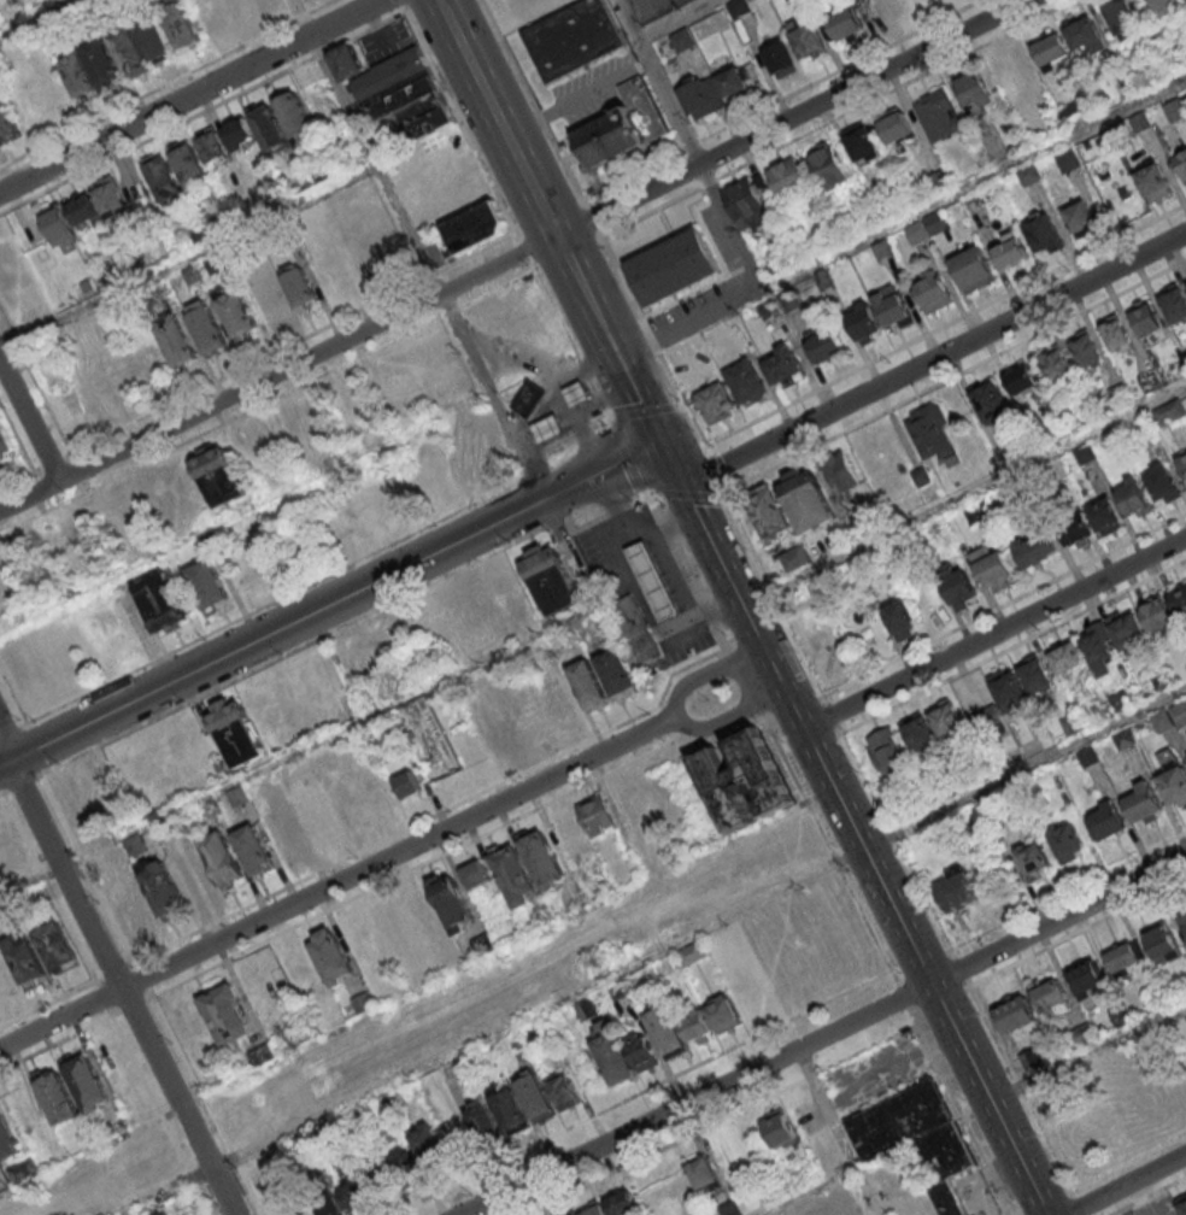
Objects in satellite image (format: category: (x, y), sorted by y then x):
building: (918, 2)
building: (264, 5)
building: (1166, 6)
parking lot: (653, 7)
building: (739, 8)
building: (887, 8)
road: (34, 17)
building: (1121, 17)
road: (675, 19)
building: (845, 23)
building: (180, 24)
building: (1084, 34)
building: (153, 36)
building: (571, 37)
building: (681, 39)
building: (808, 39)
building: (129, 51)
building: (1051, 51)
building: (780, 58)
building: (101, 64)
building: (76, 74)
building: (734, 81)
road: (658, 82)
road: (168, 83)
road: (334, 83)
building: (395, 89)
building: (975, 90)
road: (189, 95)
building: (697, 95)
building: (1173, 110)
road: (201, 111)
building: (938, 115)
building: (295, 116)
building: (6, 119)
road: (459, 119)
building: (1137, 123)
building: (623, 124)
building: (896, 127)
building: (269, 128)
building: (239, 131)
building: (861, 143)
building: (212, 145)
road: (516, 152)
building: (1065, 158)
building: (1181, 160)
building: (827, 164)
building: (189, 165)
building: (1027, 174)
building: (164, 177)
building: (788, 180)
road: (979, 180)
building: (1156, 180)
building: (108, 195)
building: (748, 199)
building: (83, 209)
building: (1079, 216)
building: (933, 222)
building: (57, 223)
building: (475, 225)
building: (916, 231)
building: (1043, 231)
building: (1010, 248)
building: (881, 250)
road: (526, 252)
road: (512, 257)
road: (188, 259)
building: (673, 265)
building: (973, 269)
building: (299, 287)
building: (932, 290)
road: (752, 293)
building: (266, 298)
building: (1174, 301)
building: (891, 305)
building: (768, 307)
building: (235, 311)
building: (1145, 318)
building: (862, 322)
building: (205, 325)
road: (460, 331)
building: (1115, 331)
building: (177, 342)
road: (569, 342)
road: (653, 345)
building: (823, 346)
building: (1087, 348)
road: (933, 358)
building: (1056, 363)
building: (782, 365)
road: (623, 372)
road: (955, 377)
building: (1024, 377)
building: (744, 378)
building: (576, 392)
building: (528, 398)
building: (714, 400)
road: (43, 403)
building: (992, 403)
building: (1168, 411)
road: (646, 412)
road: (30, 419)
building: (548, 428)
building: (930, 433)
building: (5, 440)
traffic signals: (657, 440)
building: (1084, 453)
road: (24, 454)
road: (627, 457)
building: (1182, 460)
road: (601, 468)
road: (714, 470)
building: (840, 470)
building: (920, 475)
building: (218, 477)
building: (1163, 482)
road: (683, 494)
road: (963, 497)
building: (1133, 497)
building: (806, 499)
building: (768, 511)
building: (1104, 513)
building: (1076, 528)
road: (177, 542)
building: (1033, 548)
building: (795, 557)
building: (992, 567)
road: (687, 571)
building: (550, 579)
road: (319, 580)
building: (652, 580)
building: (205, 582)
parking lot: (646, 583)
building: (956, 585)
road: (770, 591)
building: (1179, 598)
building: (160, 600)
building: (1156, 614)
building: (899, 617)
road: (272, 629)
building: (1125, 629)
building: (635, 630)
road: (993, 630)
building: (1096, 641)
building: (1065, 656)
building: (618, 673)
road: (703, 674)
building: (1035, 674)
road: (744, 681)
building: (588, 683)
building: (1120, 699)
building: (1002, 702)
building: (1179, 711)
building: (524, 712)
road: (833, 715)
road: (724, 718)
building: (947, 718)
building: (1161, 720)
building: (1074, 723)
building: (489, 724)
building: (234, 730)
road: (8, 732)
road: (330, 733)
building: (918, 733)
road: (8, 736)
building: (1126, 738)
building: (891, 756)
building: (1087, 756)
road: (1023, 768)
building: (1173, 776)
building: (744, 779)
building: (406, 783)
building: (237, 794)
building: (1143, 800)
building: (311, 814)
building: (595, 814)
building: (1106, 820)
building: (280, 827)
road: (851, 827)
building: (1065, 840)
building: (133, 844)
road: (897, 844)
road: (828, 846)
building: (252, 847)
building: (221, 856)
building: (539, 857)
building: (1031, 861)
building: (475, 873)
building: (512, 873)
building: (196, 876)
road: (331, 885)
building: (163, 888)
building: (958, 891)
building: (124, 897)
building: (450, 902)
building: (1181, 915)
building: (424, 918)
building: (394, 932)
building: (1163, 939)
building: (57, 946)
building: (692, 952)
building: (330, 953)
building: (1125, 956)
building: (25, 958)
road: (959, 970)
building: (301, 972)
building: (1085, 976)
road: (119, 988)
road: (416, 991)
road: (902, 994)
building: (1049, 994)
building: (583, 1009)
building: (1015, 1011)
building: (224, 1012)
building: (721, 1012)
building: (1121, 1014)
road: (101, 1016)
building: (334, 1016)
building: (1185, 1017)
building: (695, 1025)
building: (664, 1027)
road: (491, 1032)
building: (1082, 1034)
road: (823, 1035)
building: (641, 1050)
building: (260, 1052)
building: (611, 1053)
road: (1087, 1053)
building: (1040, 1055)
building: (593, 1070)
parking lot: (876, 1074)
building: (86, 1081)
road: (1021, 1087)
building: (563, 1090)
building: (534, 1094)
building: (57, 1096)
building: (507, 1108)
road: (961, 1113)
building: (898, 1117)
building: (483, 1119)
building: (779, 1126)
road: (839, 1132)
building: (7, 1139)
building: (429, 1144)
building: (941, 1151)
building: (403, 1154)
building: (728, 1158)
building: (376, 1166)
building: (700, 1169)
building: (22, 1170)
building: (350, 1180)
road: (1126, 1184)
building: (319, 1191)
road: (808, 1191)
parking lot: (973, 1191)
building: (947, 1197)
building: (276, 1199)
building: (621, 1202)
building: (1181, 1203)
road: (1080, 1205)
parking lot: (1156, 1207)
building: (728, 1208)
building: (594, 1209)
building: (570, 1213)

